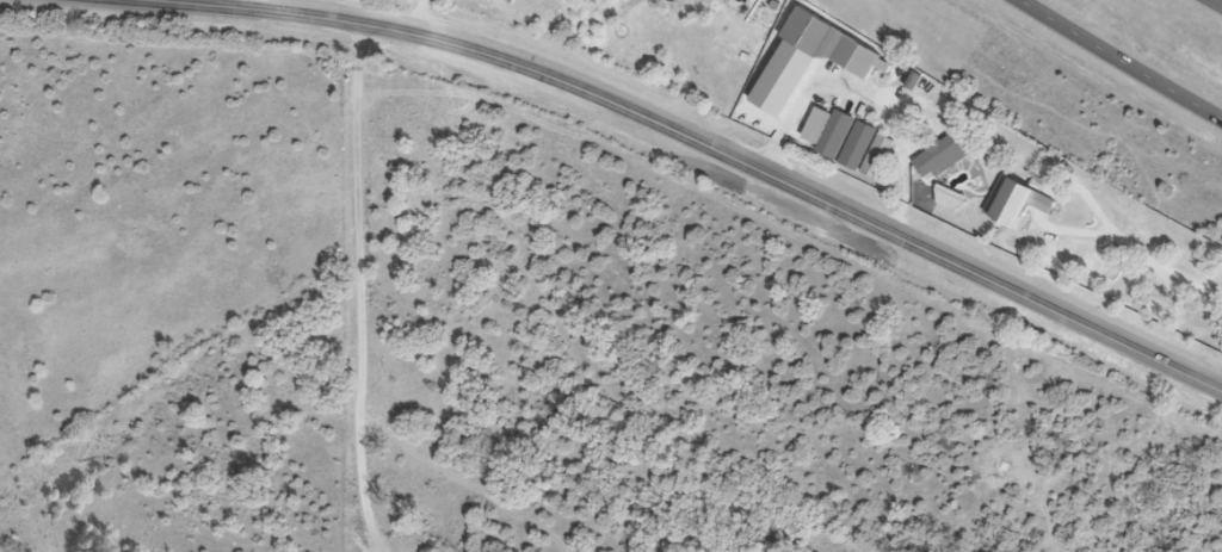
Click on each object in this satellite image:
road: (168, 0)
building: (606, 0)
road: (419, 17)
building: (811, 31)
road: (1121, 60)
road: (865, 83)
building: (837, 135)
road: (704, 144)
building: (860, 145)
building: (940, 157)
building: (1019, 201)
road: (1135, 254)
road: (356, 290)

